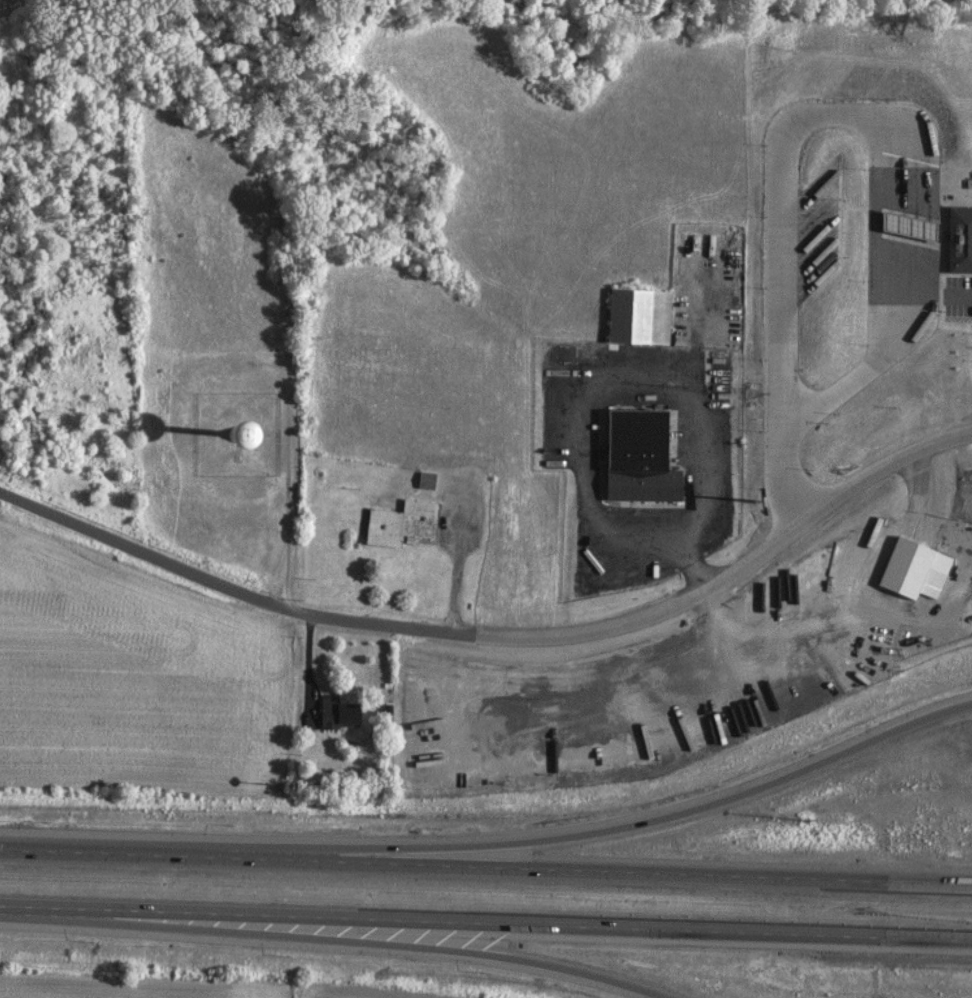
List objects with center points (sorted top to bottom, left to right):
road: (866, 124)
building: (912, 227)
parking lot: (818, 228)
building: (961, 240)
road: (785, 242)
road: (960, 295)
parking lot: (959, 297)
road: (876, 298)
road: (912, 309)
building: (643, 314)
road: (614, 375)
road: (784, 419)
building: (641, 437)
water tower: (240, 440)
building: (647, 482)
building: (430, 483)
building: (406, 523)
road: (942, 534)
road: (457, 561)
road: (698, 565)
building: (923, 570)
road: (500, 633)
road: (871, 636)
crop: (134, 686)
building: (335, 711)
road: (617, 825)
street lamp: (808, 827)
road: (486, 864)
road: (486, 920)
road: (344, 941)
crop: (119, 990)
crop: (345, 995)

